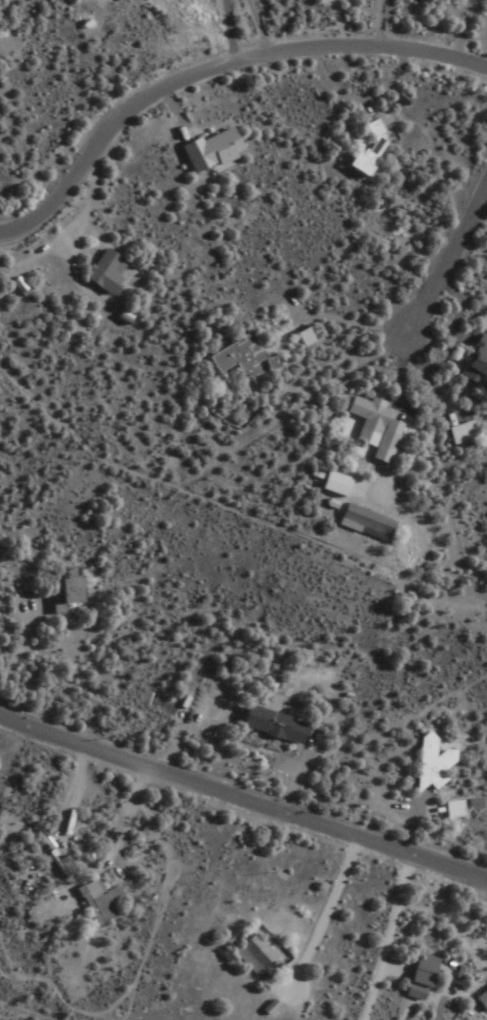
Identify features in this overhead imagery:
road: (337, 25)
road: (381, 26)
road: (255, 29)
road: (230, 31)
road: (214, 68)
road: (357, 99)
road: (174, 113)
building: (366, 149)
building: (208, 151)
road: (92, 210)
road: (446, 258)
building: (102, 271)
building: (16, 287)
road: (328, 317)
building: (301, 337)
building: (235, 358)
building: (473, 362)
road: (286, 410)
road: (401, 422)
building: (373, 427)
building: (457, 433)
building: (331, 484)
road: (232, 507)
building: (362, 523)
building: (57, 593)
building: (268, 726)
building: (428, 763)
road: (242, 802)
building: (470, 805)
building: (450, 810)
building: (96, 901)
road: (329, 920)
road: (392, 941)
building: (252, 955)
building: (417, 977)
road: (40, 1008)

